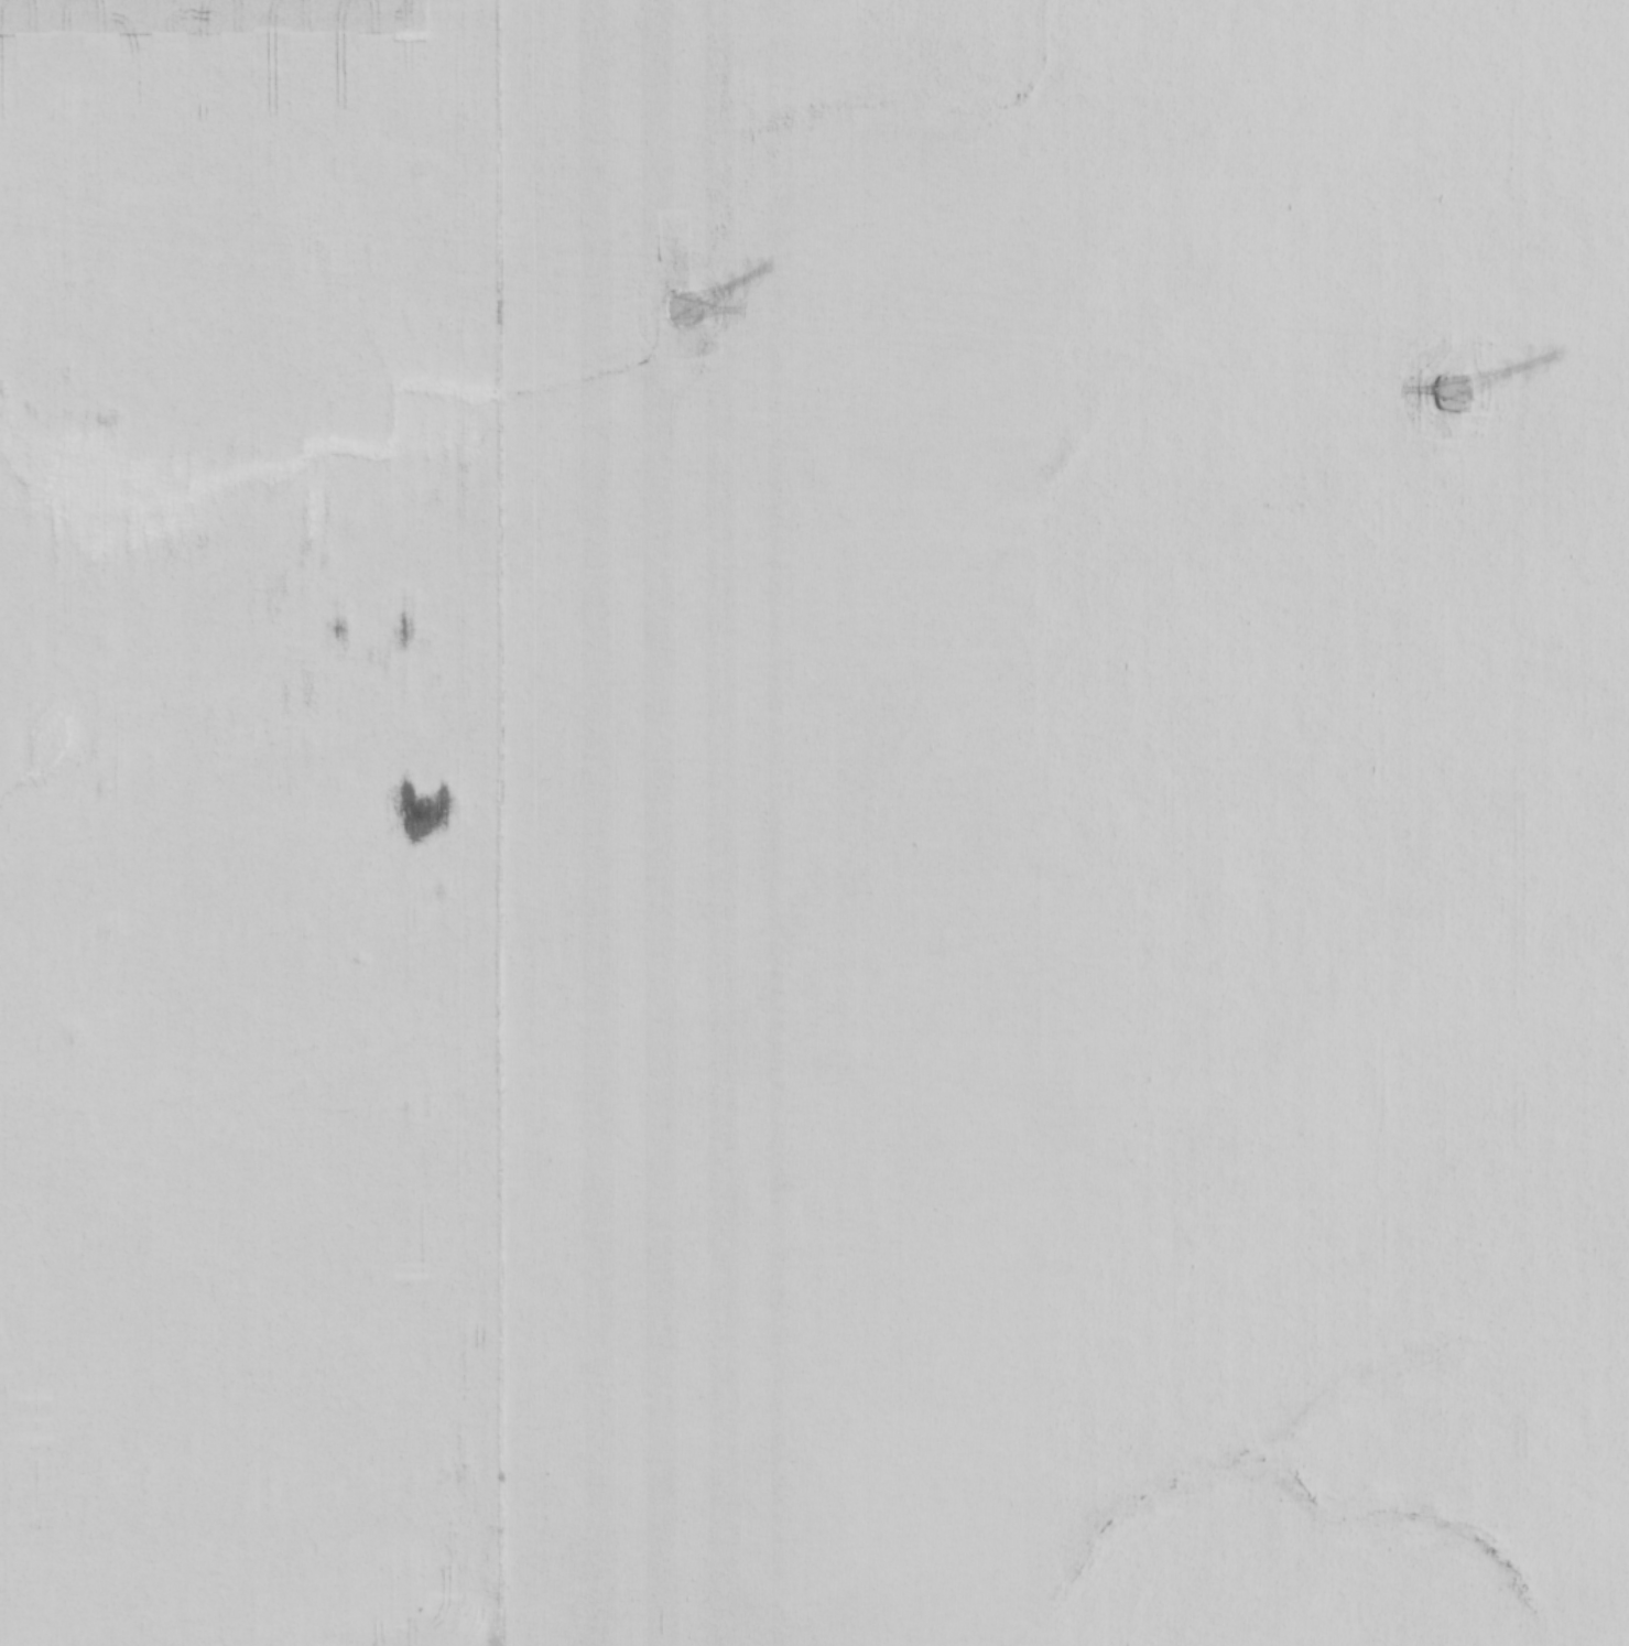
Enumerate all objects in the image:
power tower: (677, 303)
power tower: (1452, 386)

